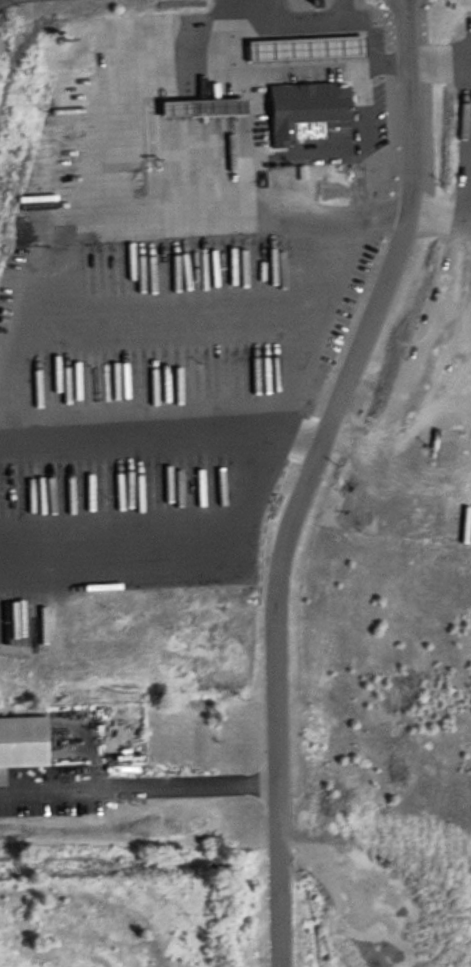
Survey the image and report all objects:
building: (305, 47)
road: (441, 57)
road: (287, 66)
building: (310, 103)
building: (202, 106)
road: (431, 213)
road: (321, 313)
road: (412, 351)
road: (305, 476)
building: (166, 483)
building: (22, 742)
road: (137, 788)
building: (398, 939)

